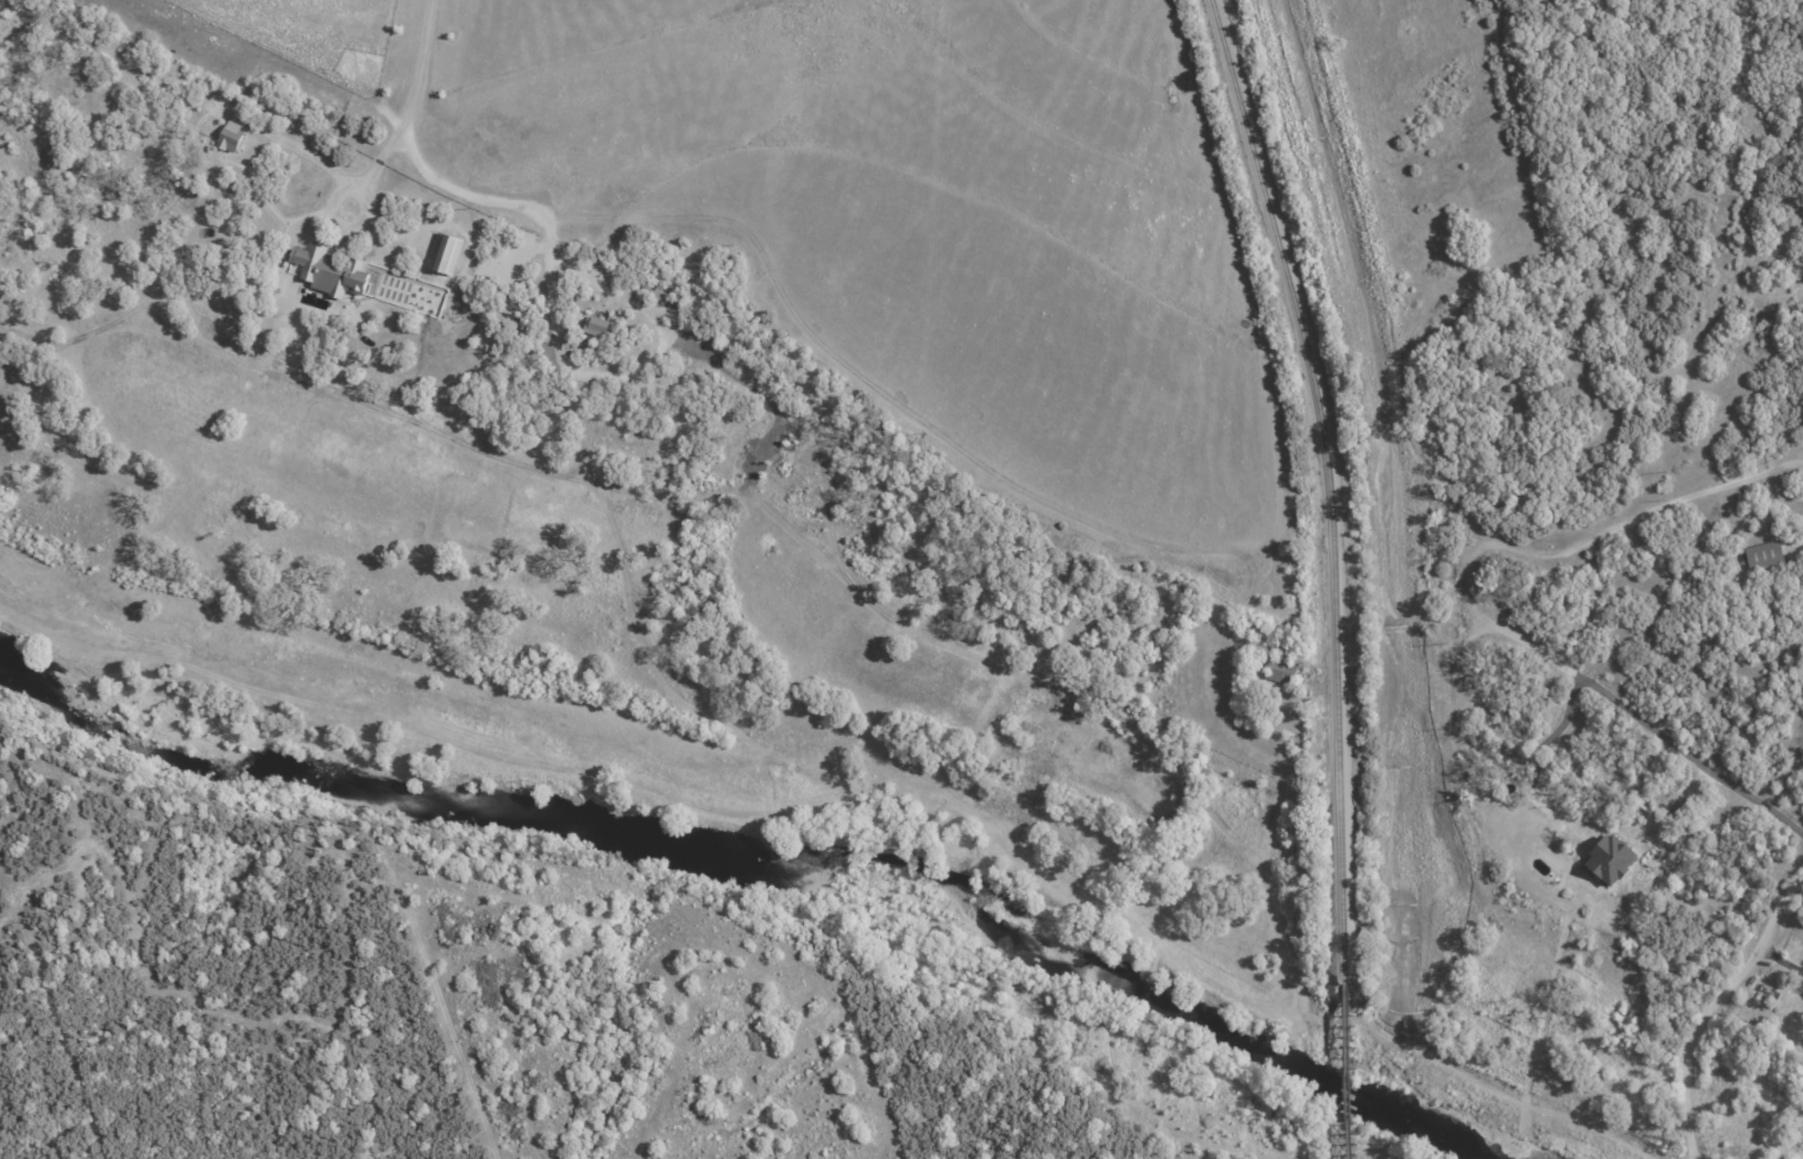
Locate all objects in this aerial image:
building: (230, 137)
road: (303, 151)
road: (415, 160)
road: (365, 209)
road: (288, 219)
road: (384, 222)
building: (444, 253)
building: (329, 271)
building: (596, 326)
road: (632, 373)
railway: (1328, 485)
building: (1763, 555)
road: (1474, 606)
road: (1535, 773)
road: (1666, 814)
building: (1609, 859)
river: (767, 883)
road: (1782, 962)
road: (1713, 1009)
railway: (1343, 1072)

